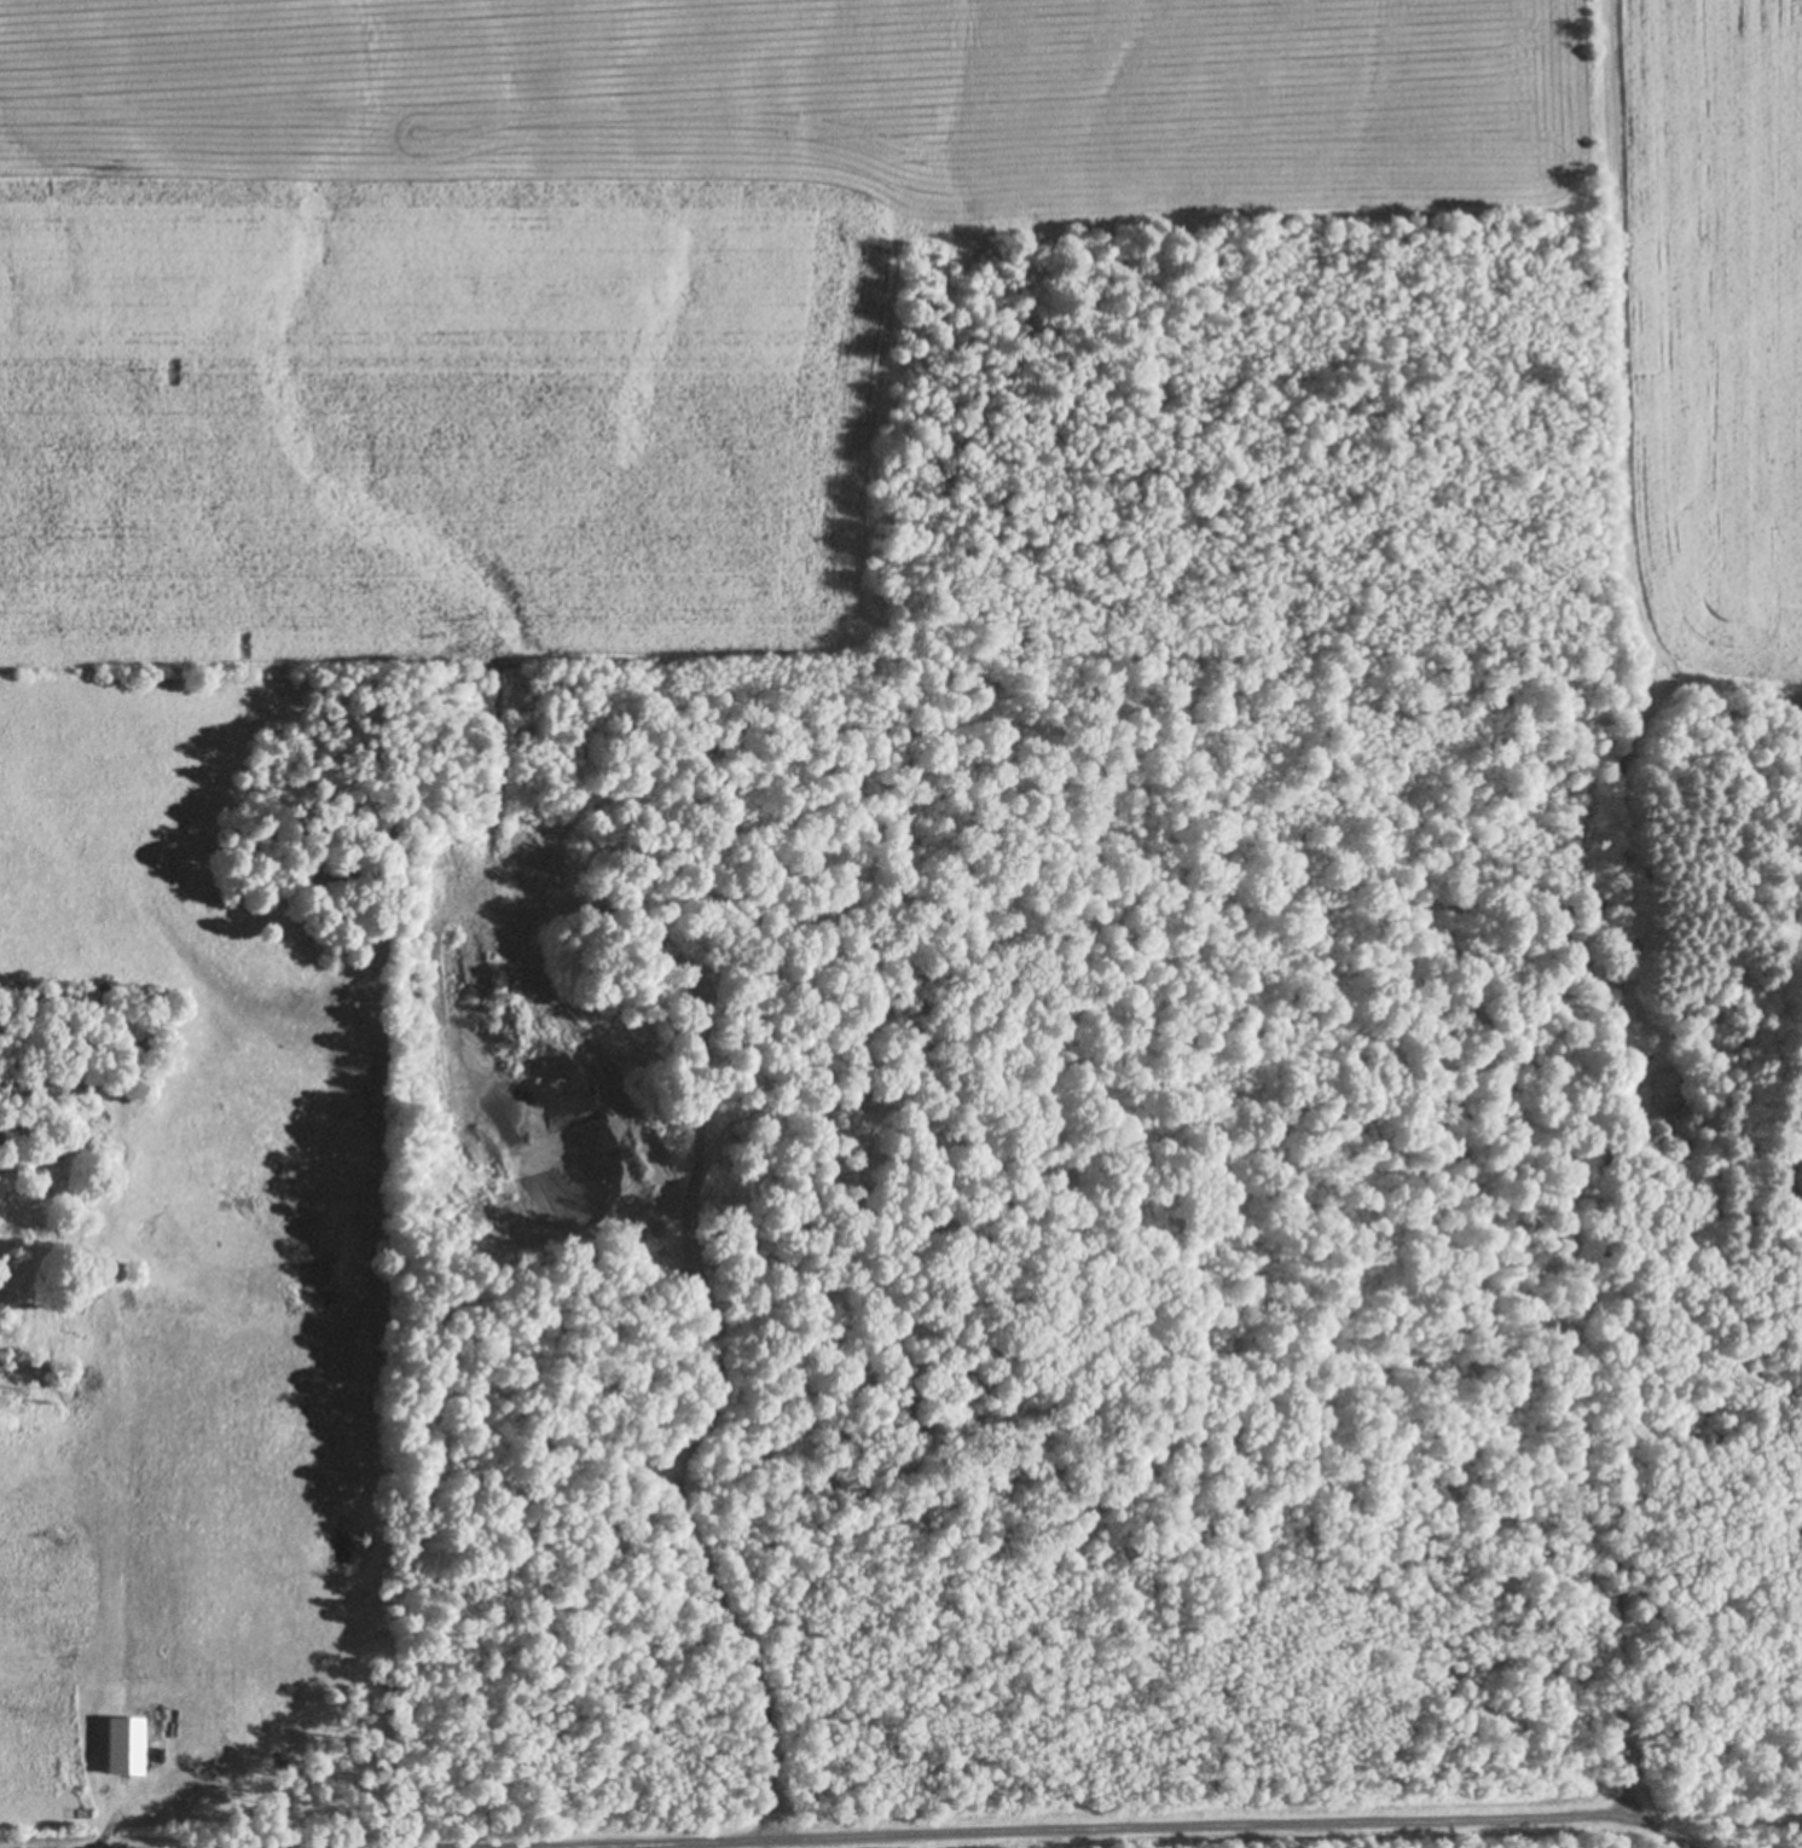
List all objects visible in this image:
crop: (609, 585)
building: (1710, 1038)
building: (1665, 1087)
road: (1611, 1454)
road: (1042, 1833)
road: (1658, 1833)

